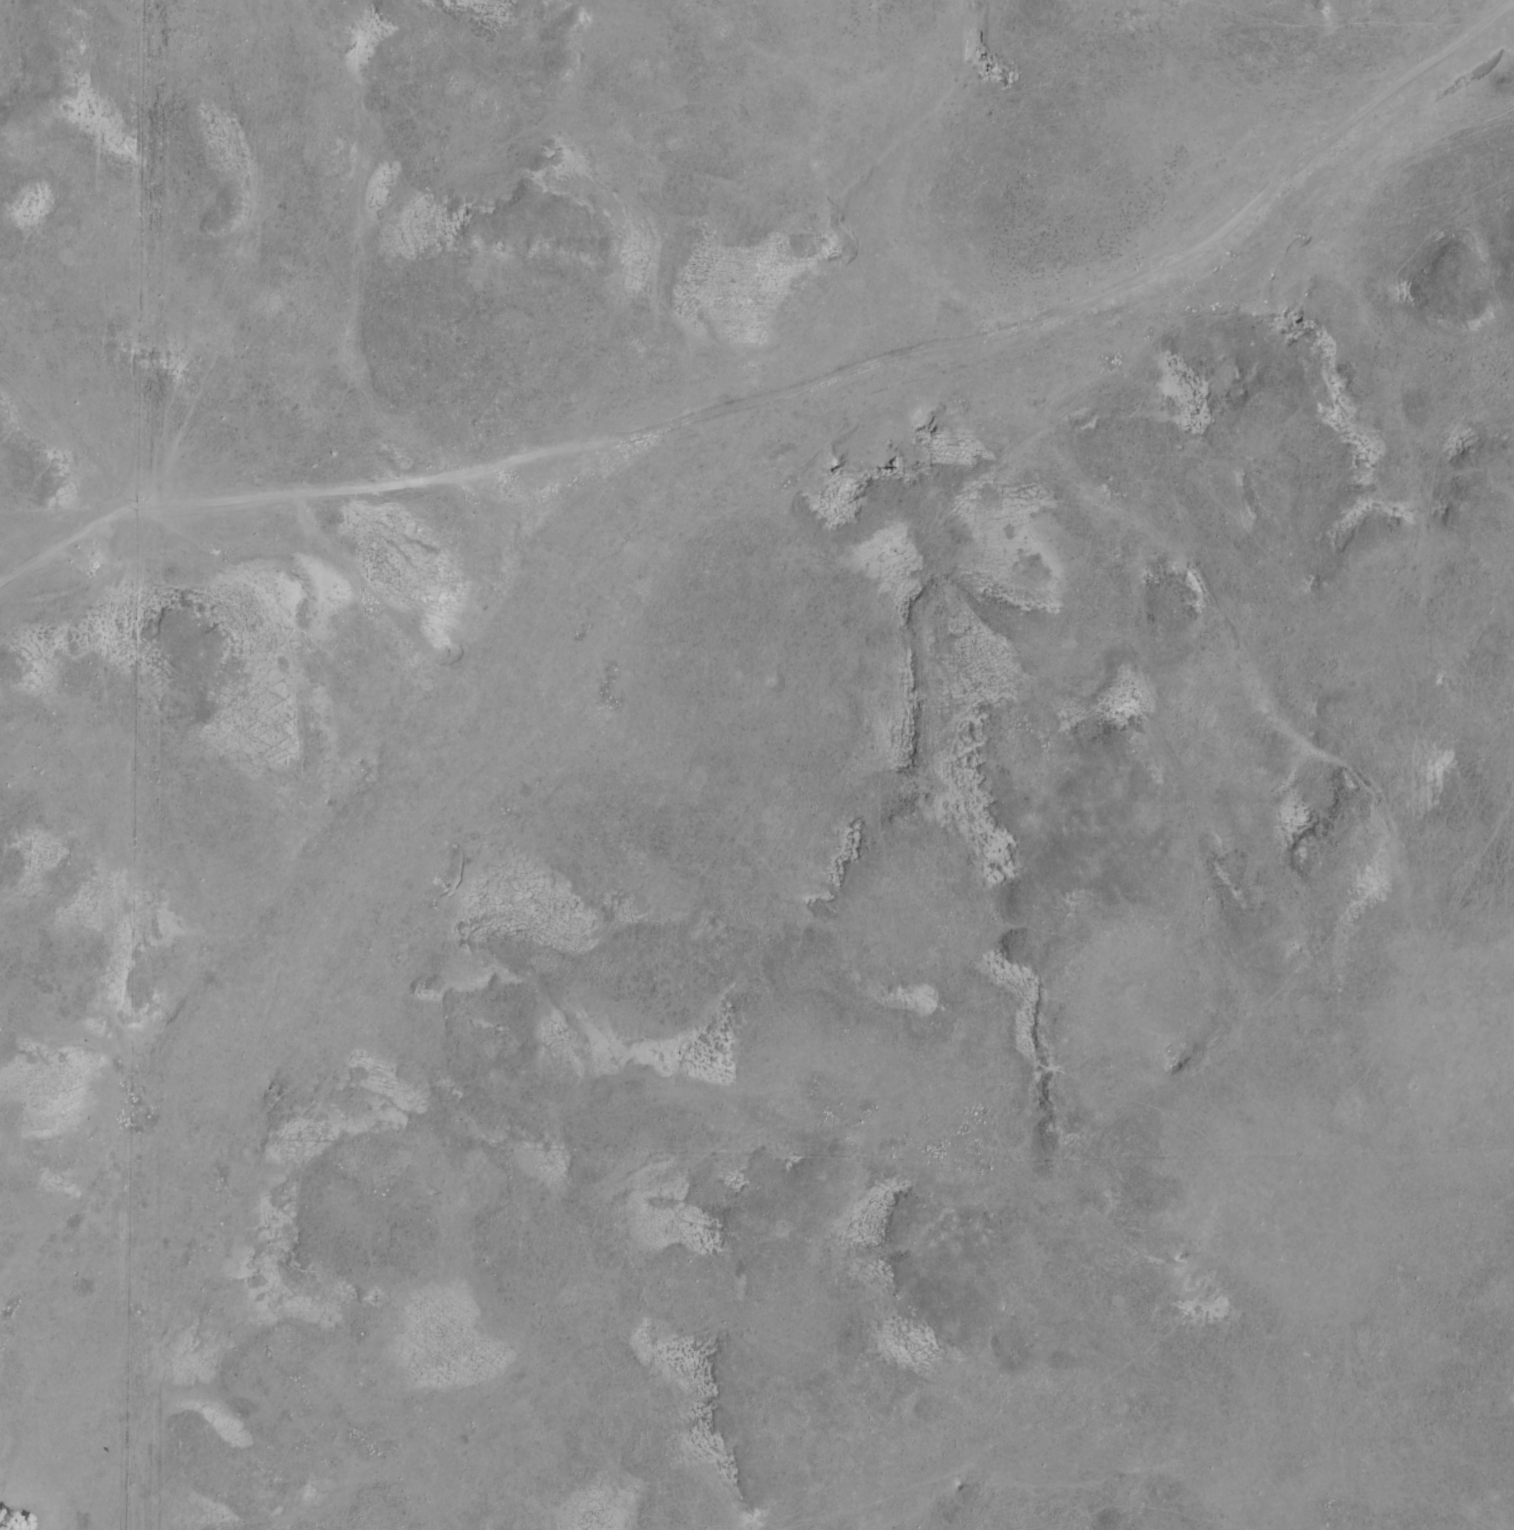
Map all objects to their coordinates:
road: (182, 765)

